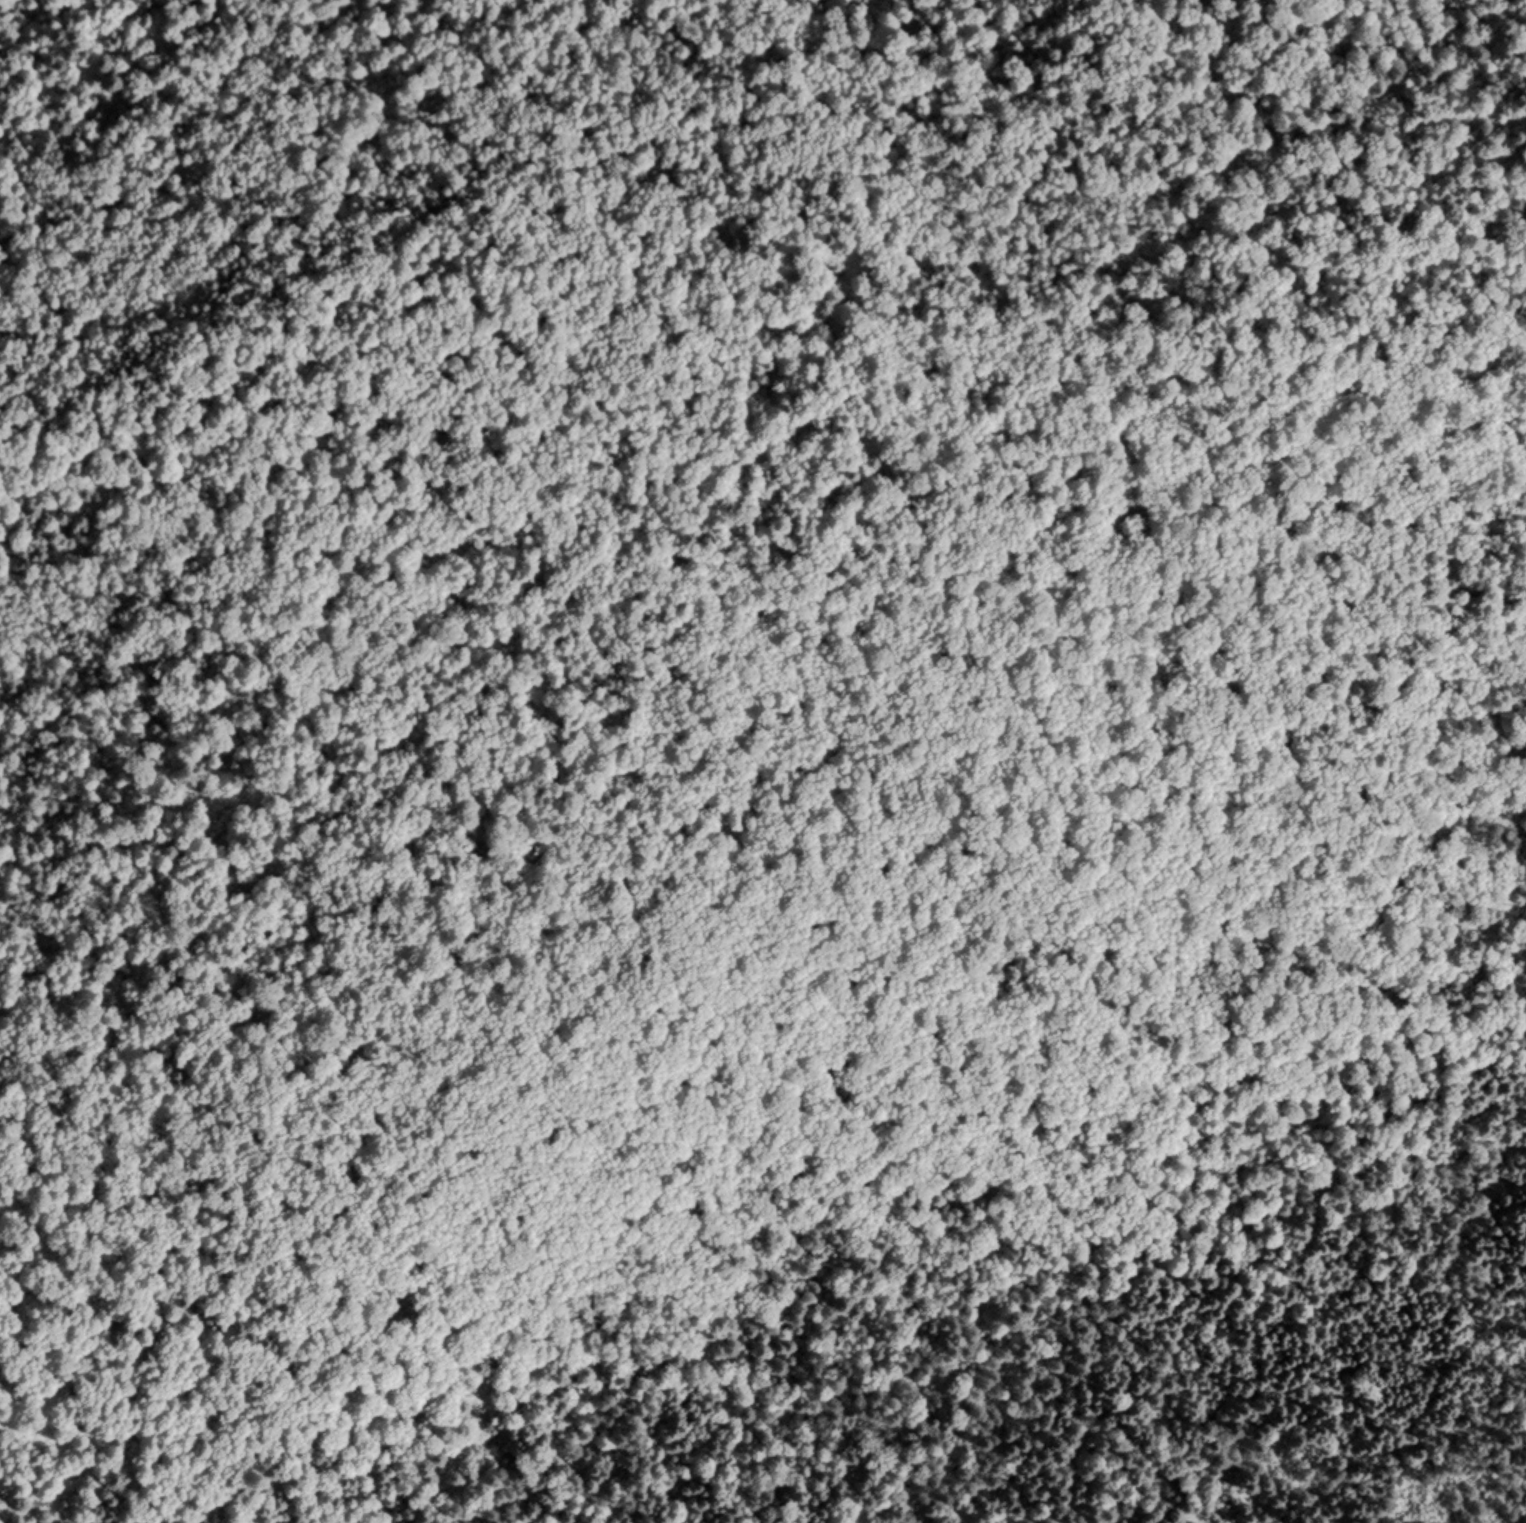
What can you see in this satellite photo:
road: (26, 14)

